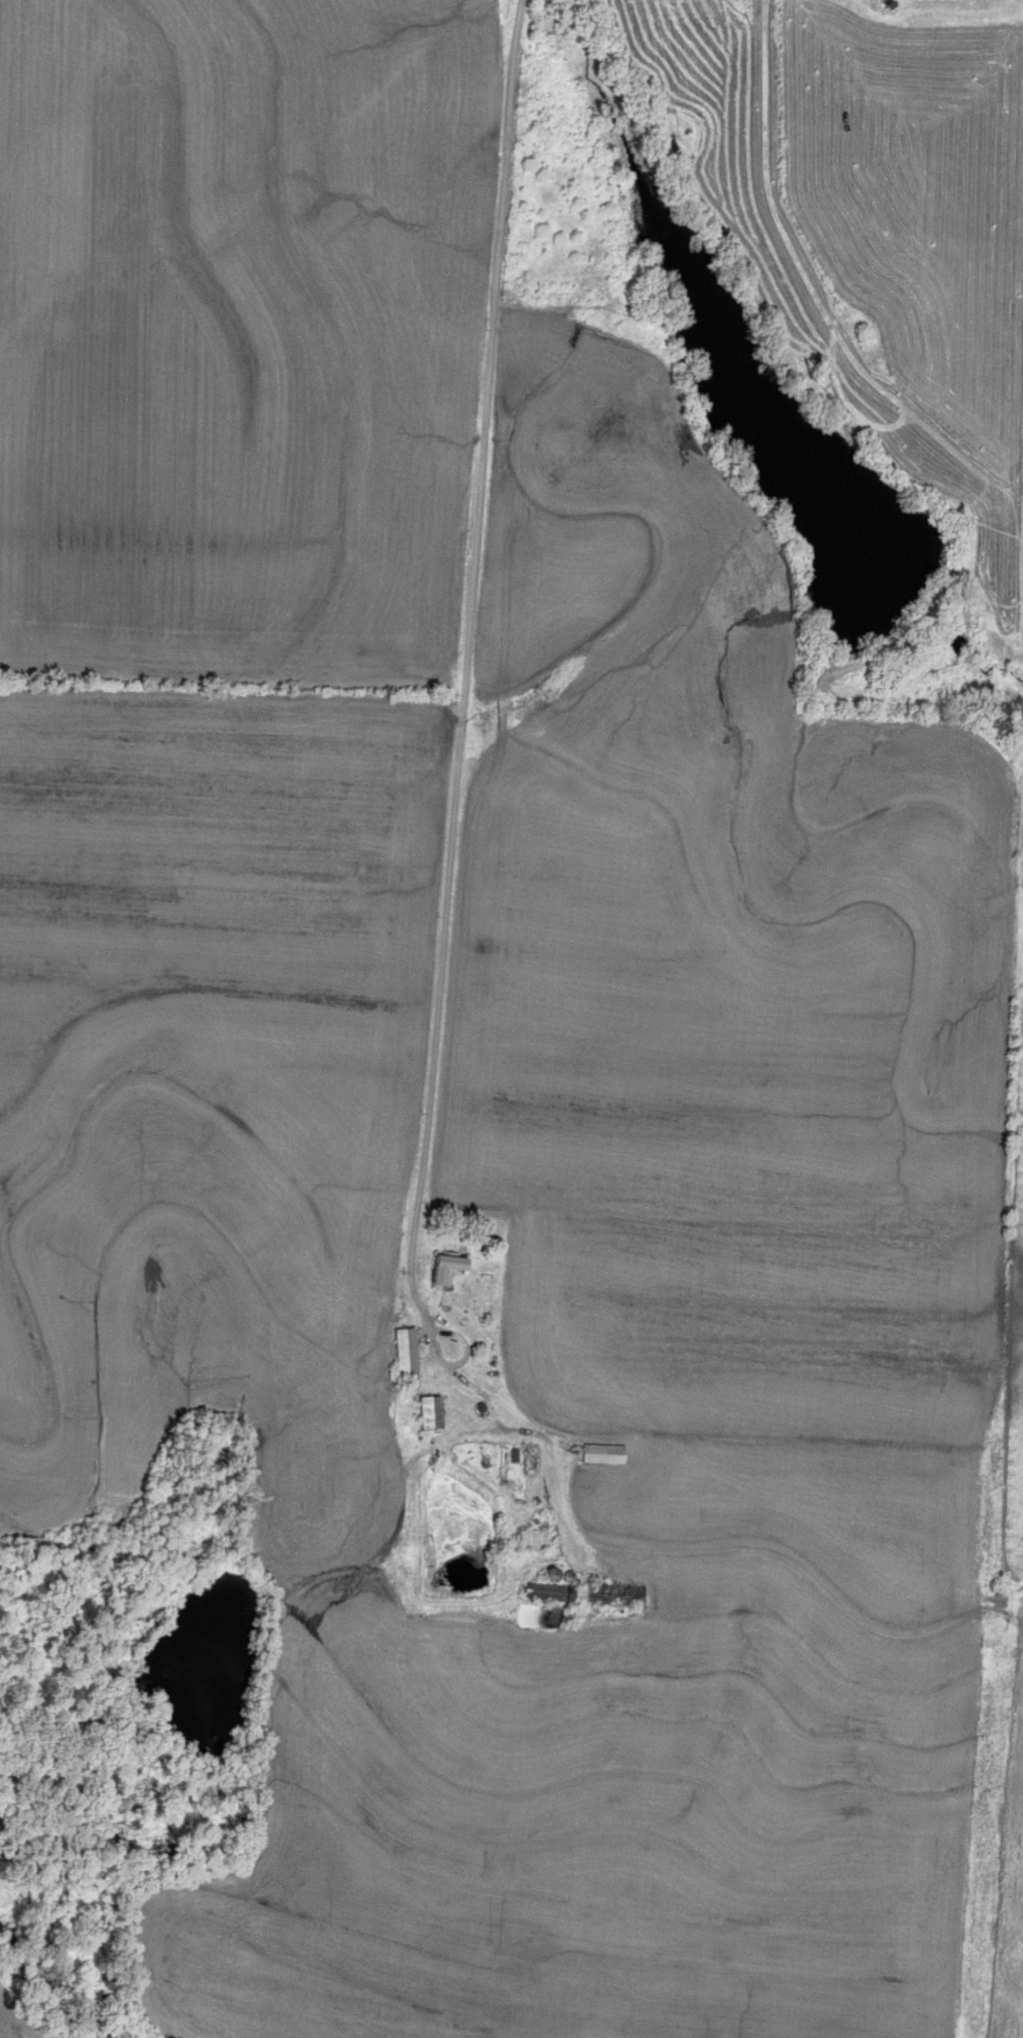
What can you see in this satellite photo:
road: (453, 820)
building: (442, 1266)
building: (402, 1355)
building: (425, 1412)
building: (599, 1454)
building: (533, 1541)
building: (543, 1592)
building: (614, 1594)

